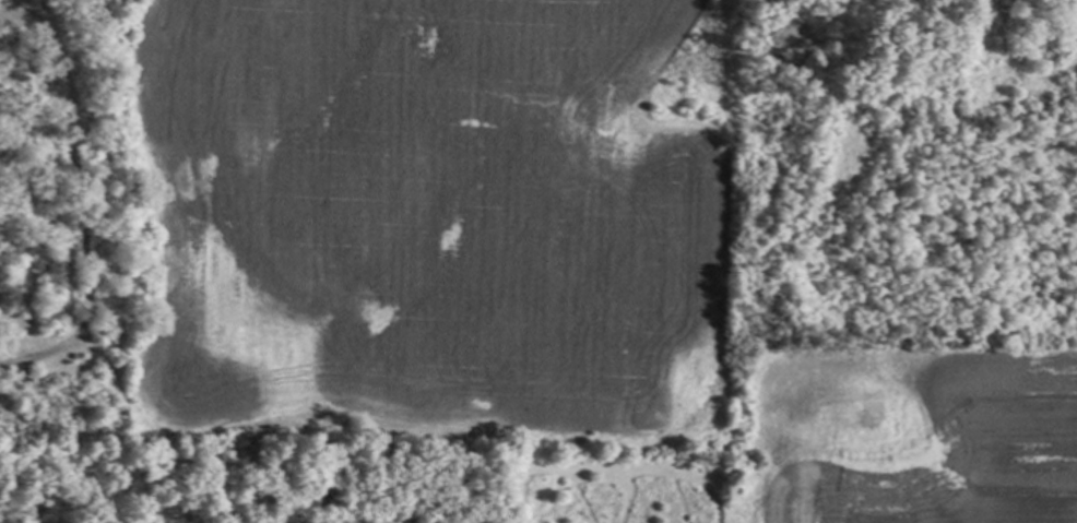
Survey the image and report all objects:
crop: (426, 225)
crop: (912, 437)

